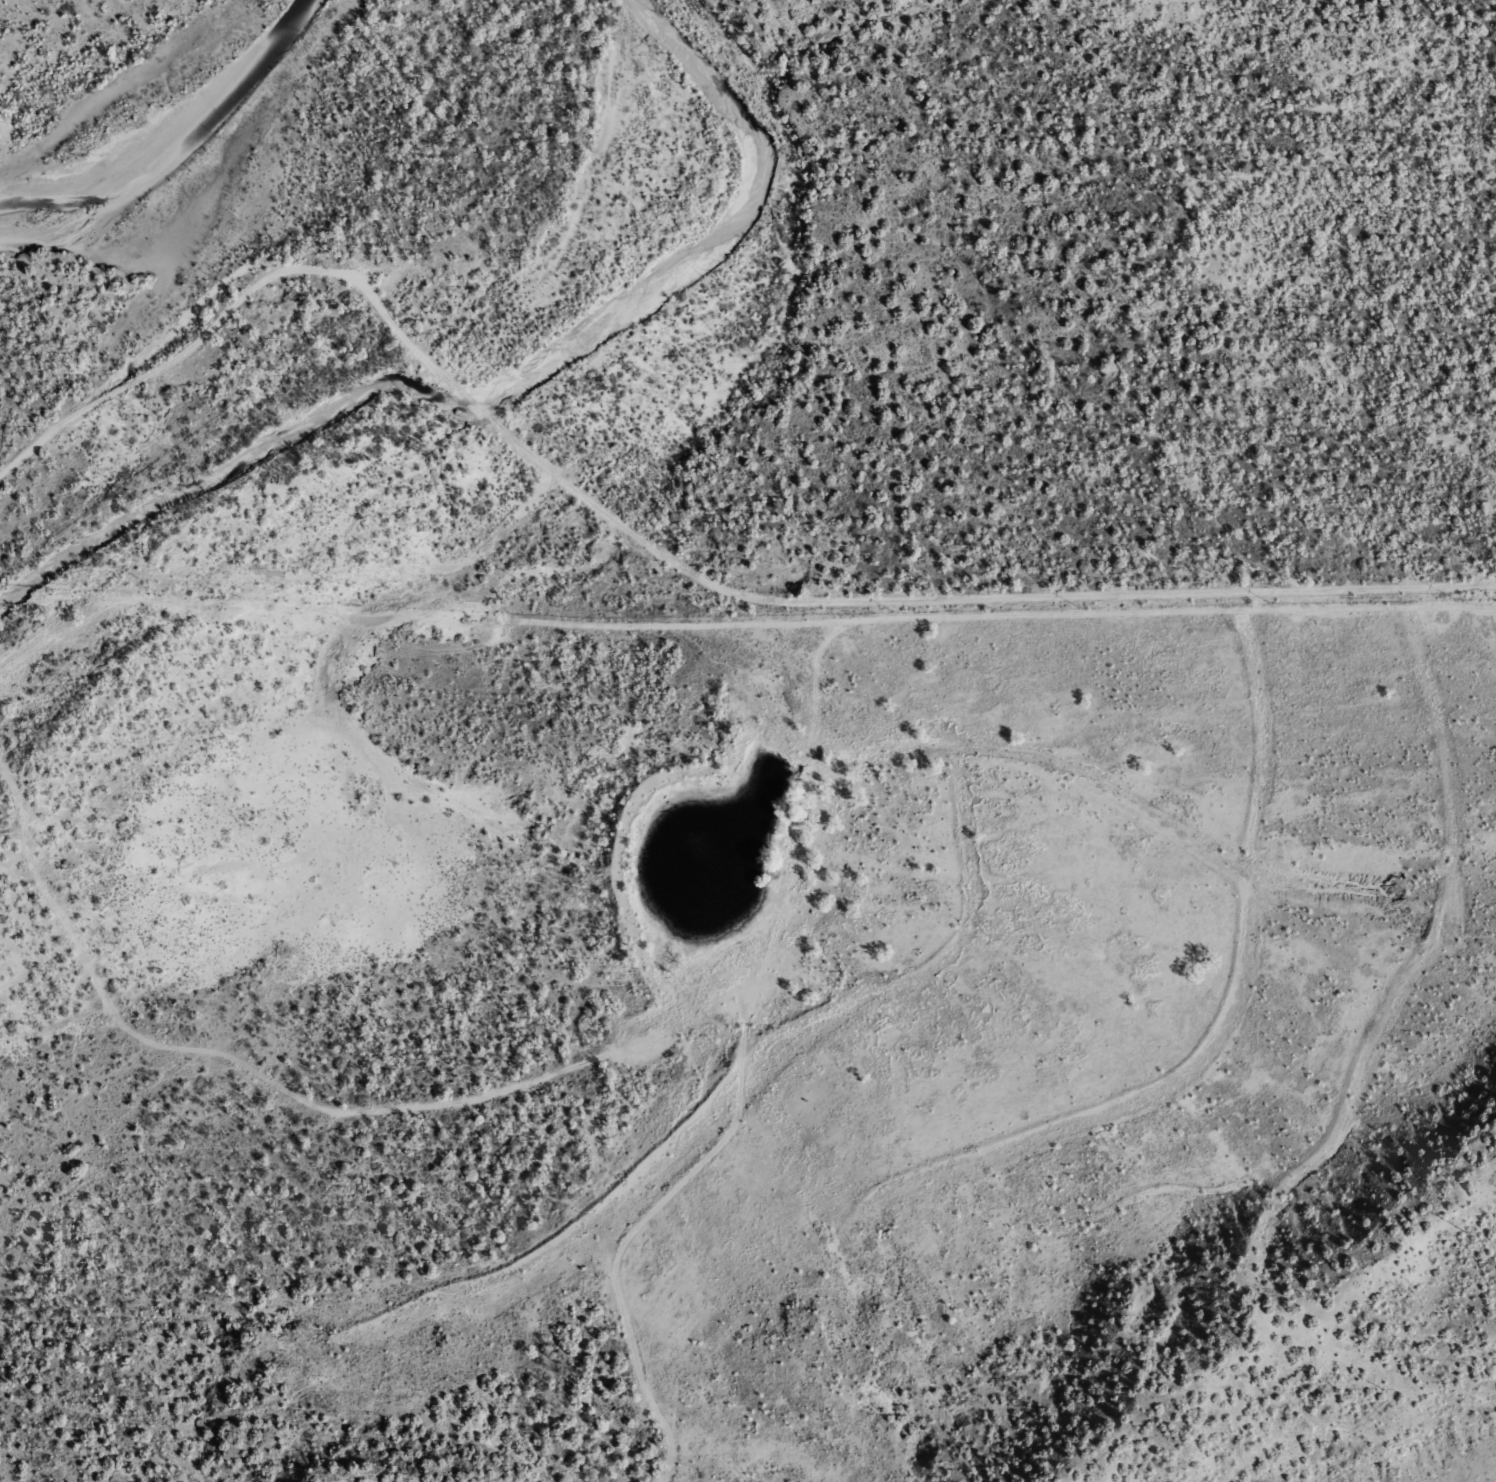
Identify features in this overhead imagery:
road: (672, 614)

